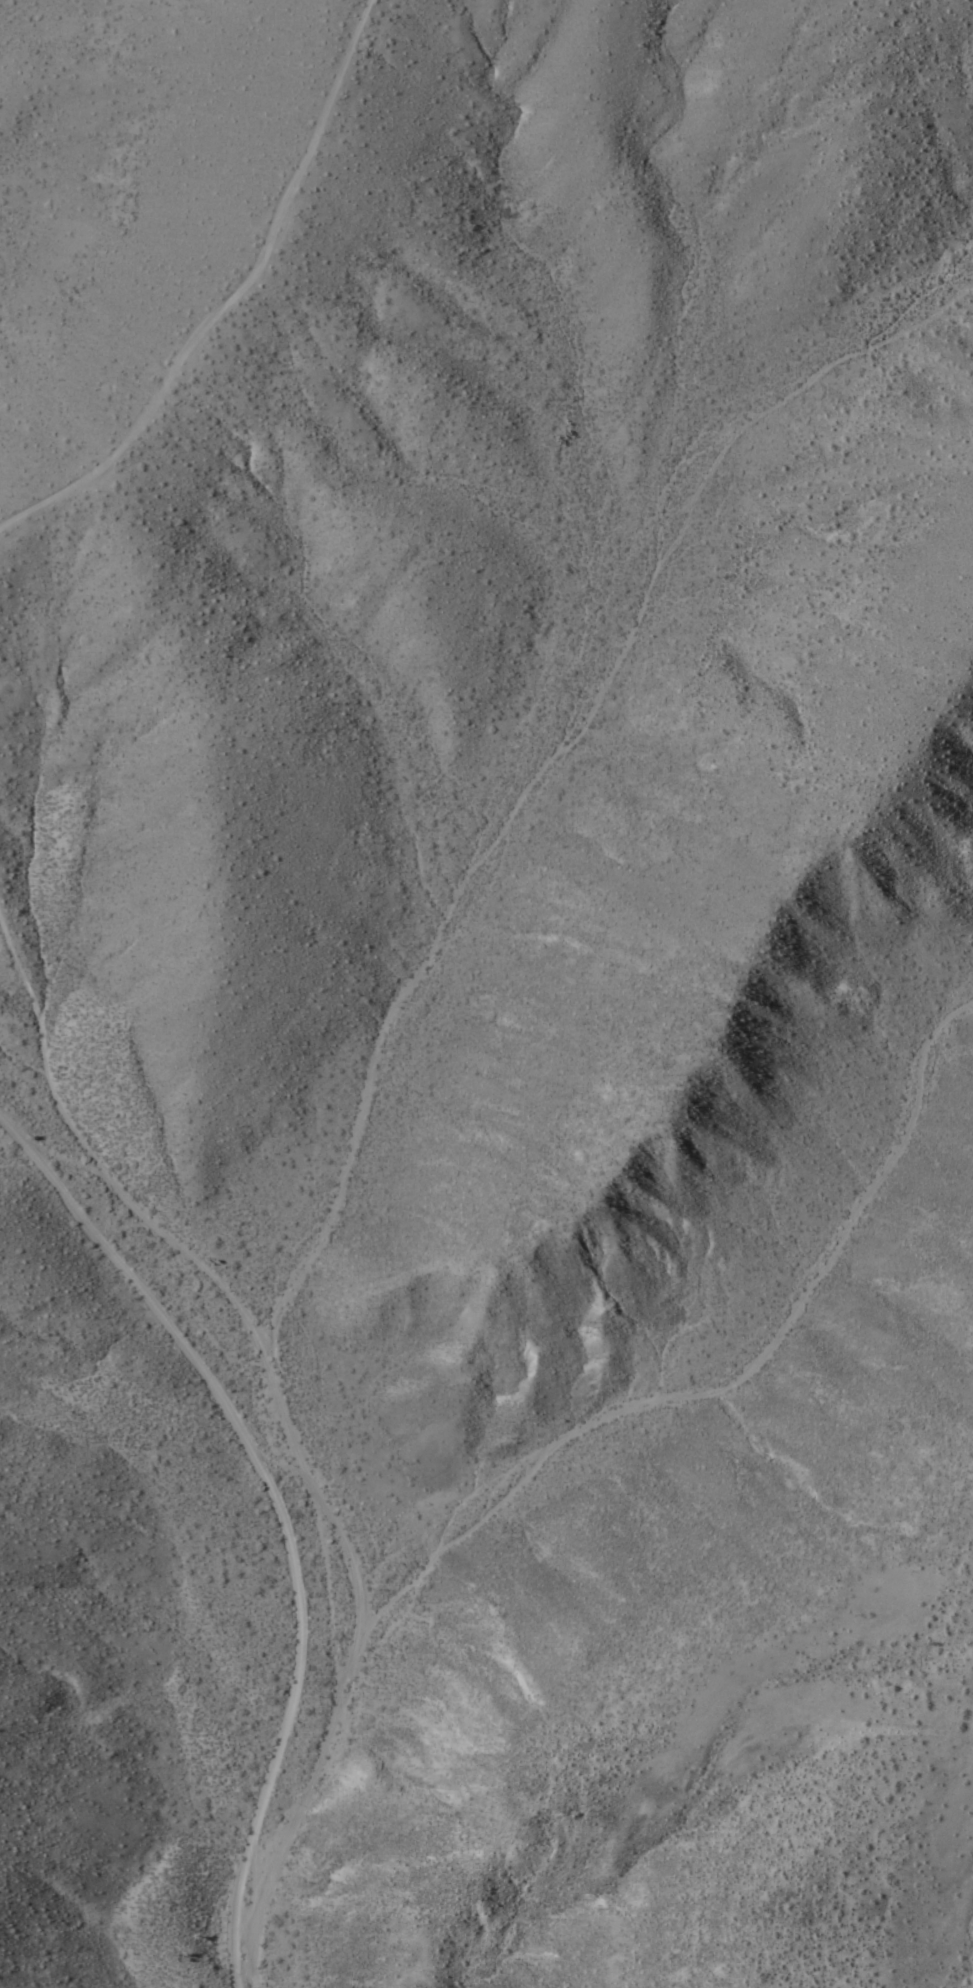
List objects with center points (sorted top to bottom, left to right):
road: (231, 298)
road: (286, 1423)

